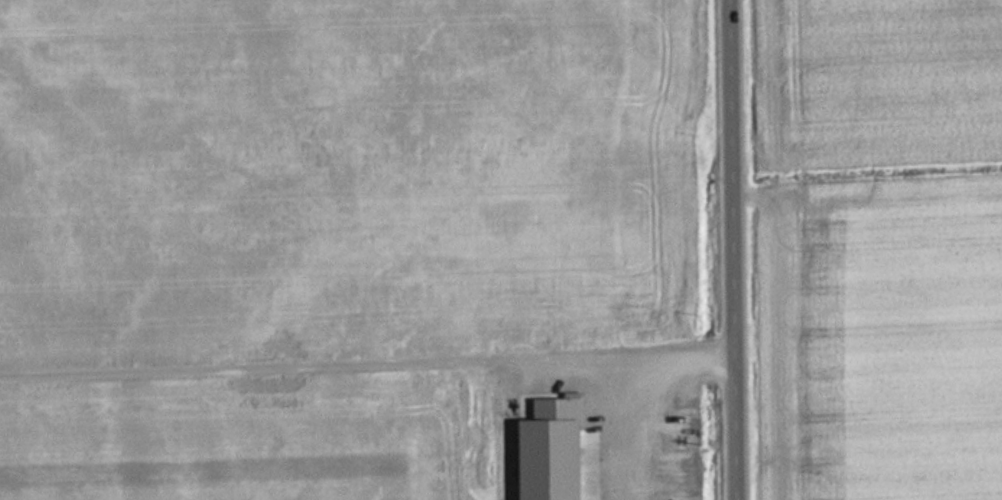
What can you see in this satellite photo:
road: (735, 250)
building: (498, 328)
road: (367, 361)

